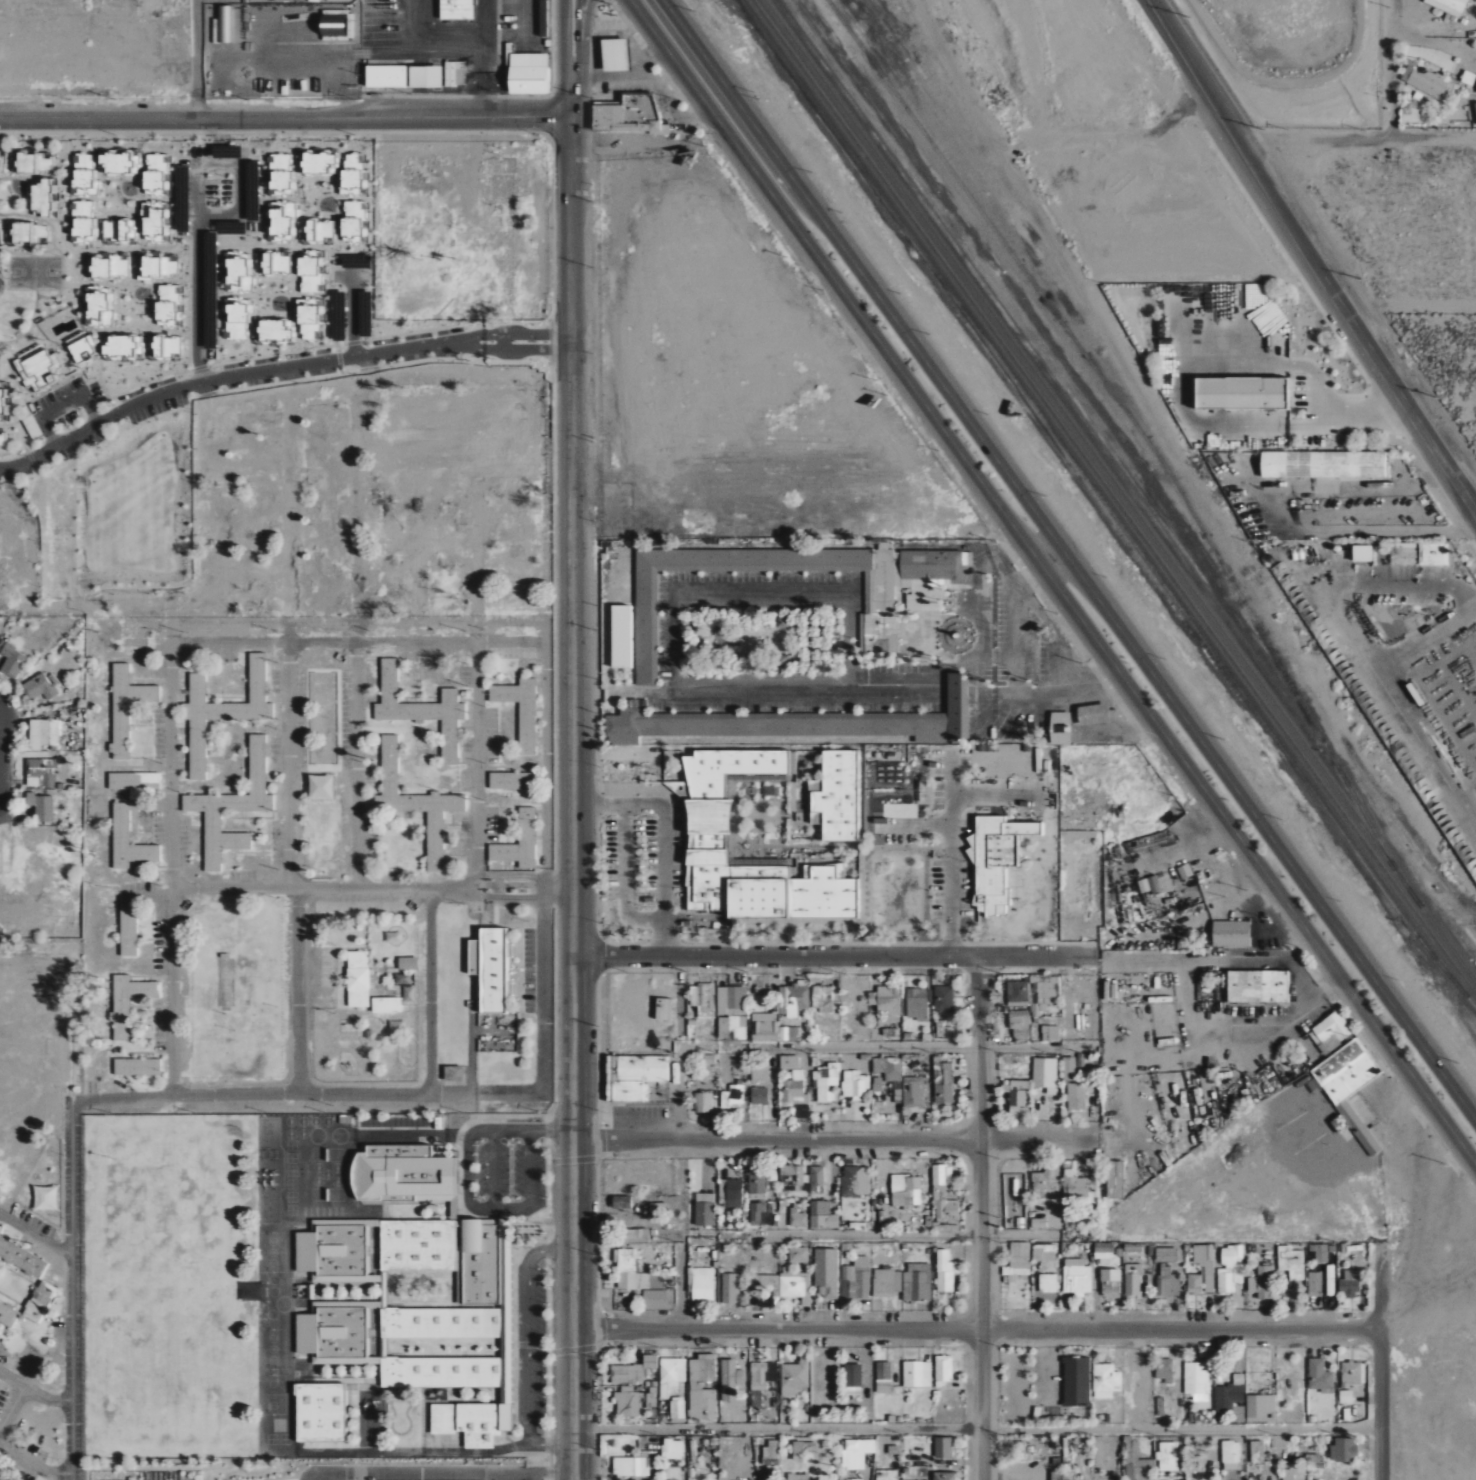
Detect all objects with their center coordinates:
building: (1448, 6)
building: (455, 10)
road: (1396, 17)
building: (333, 25)
road: (576, 27)
road: (585, 27)
road: (564, 36)
road: (1446, 47)
building: (613, 56)
road: (197, 60)
road: (576, 62)
building: (527, 74)
building: (453, 75)
building: (403, 78)
building: (1429, 83)
road: (573, 94)
building: (625, 116)
road: (286, 119)
road: (1378, 137)
road: (1432, 137)
building: (24, 162)
building: (44, 163)
building: (0, 167)
road: (573, 168)
road: (197, 176)
building: (42, 196)
building: (28, 232)
road: (1309, 257)
road: (449, 301)
road: (120, 327)
road: (352, 343)
building: (1240, 392)
road: (1179, 393)
road: (83, 394)
road: (1385, 401)
road: (1367, 407)
building: (31, 427)
railway: (1137, 430)
building: (1, 440)
road: (28, 459)
building: (1323, 464)
railway: (1119, 491)
railway: (1113, 499)
railway: (1106, 505)
road: (1034, 535)
road: (1015, 549)
building: (1362, 553)
building: (1403, 553)
building: (1433, 554)
road: (1068, 561)
road: (1054, 562)
building: (930, 576)
road: (1034, 576)
road: (1053, 582)
building: (878, 593)
road: (364, 612)
road: (296, 634)
road: (1431, 635)
building: (621, 636)
road: (1375, 648)
building: (12, 660)
building: (38, 687)
building: (957, 707)
building: (126, 708)
building: (421, 710)
building: (520, 710)
building: (222, 711)
building: (1092, 714)
road: (159, 724)
road: (289, 724)
road: (481, 724)
road: (545, 724)
building: (1060, 728)
building: (43, 733)
building: (804, 761)
building: (731, 769)
building: (39, 772)
building: (133, 781)
building: (510, 781)
building: (320, 787)
building: (683, 789)
building: (837, 797)
building: (415, 803)
building: (41, 807)
building: (232, 808)
building: (707, 826)
road: (664, 840)
building: (128, 841)
road: (951, 841)
road: (572, 848)
building: (995, 861)
building: (1185, 871)
building: (828, 872)
building: (759, 873)
road: (625, 880)
road: (365, 881)
building: (706, 881)
building: (1156, 884)
building: (792, 897)
building: (128, 930)
building: (1230, 934)
road: (833, 961)
building: (489, 969)
building: (359, 980)
building: (1258, 987)
building: (1018, 992)
road: (427, 993)
building: (822, 998)
building: (885, 999)
building: (943, 999)
building: (703, 1000)
building: (793, 1000)
building: (731, 1001)
building: (128, 1003)
building: (917, 1004)
building: (386, 1005)
building: (665, 1010)
building: (1020, 1026)
building: (723, 1027)
building: (1332, 1027)
building: (771, 1029)
building: (1050, 1033)
road: (830, 1048)
building: (1081, 1061)
building: (789, 1062)
building: (136, 1067)
building: (642, 1069)
building: (1069, 1069)
building: (759, 1073)
building: (453, 1074)
building: (891, 1074)
building: (1045, 1074)
building: (611, 1079)
parking lot: (600, 1081)
building: (827, 1082)
building: (943, 1083)
building: (877, 1084)
building: (855, 1085)
building: (1349, 1086)
building: (632, 1092)
building: (913, 1093)
building: (796, 1095)
building: (759, 1096)
building: (733, 1097)
building: (1076, 1097)
road: (596, 1099)
building: (703, 1103)
building: (1018, 1103)
road: (309, 1105)
road: (626, 1119)
road: (833, 1141)
road: (467, 1150)
road: (530, 1166)
building: (405, 1174)
building: (791, 1179)
building: (817, 1179)
building: (1115, 1180)
building: (1043, 1181)
building: (771, 1182)
building: (851, 1182)
building: (757, 1184)
building: (1075, 1185)
building: (722, 1187)
road: (681, 1188)
building: (906, 1191)
building: (734, 1193)
building: (44, 1198)
building: (944, 1201)
building: (621, 1203)
building: (658, 1208)
building: (704, 1209)
building: (756, 1213)
building: (821, 1216)
building: (797, 1217)
road: (981, 1220)
building: (1039, 1223)
road: (606, 1224)
road: (35, 1235)
building: (634, 1236)
road: (594, 1237)
road: (870, 1238)
building: (663, 1249)
building: (337, 1251)
building: (1104, 1251)
building: (1044, 1253)
building: (1319, 1253)
building: (799, 1255)
building: (1166, 1255)
building: (1018, 1260)
building: (630, 1261)
building: (1291, 1263)
building: (1209, 1269)
building: (1230, 1269)
building: (945, 1272)
building: (827, 1273)
building: (1077, 1277)
building: (858, 1278)
building: (1133, 1280)
building: (657, 1281)
building: (1330, 1281)
building: (636, 1282)
building: (917, 1282)
building: (1168, 1282)
building: (887, 1283)
building: (1048, 1283)
building: (1111, 1283)
building: (1265, 1283)
building: (701, 1284)
building: (1315, 1284)
building: (1349, 1284)
building: (794, 1285)
building: (729, 1289)
road: (71, 1290)
road: (604, 1296)
building: (656, 1300)
building: (39, 1302)
building: (8, 1315)
building: (430, 1322)
road: (975, 1330)
road: (1017, 1348)
road: (1049, 1348)
road: (528, 1349)
road: (1379, 1362)
road: (999, 1366)
building: (944, 1369)
building: (1163, 1369)
building: (634, 1371)
building: (736, 1374)
building: (917, 1374)
building: (672, 1375)
building: (1320, 1377)
building: (795, 1378)
building: (884, 1378)
building: (762, 1379)
building: (853, 1381)
building: (1106, 1381)
building: (1197, 1381)
building: (1077, 1383)
parking lot: (1031, 1386)
building: (703, 1387)
road: (1017, 1390)
road: (1049, 1390)
road: (34, 1394)
building: (1346, 1397)
building: (652, 1398)
building: (1231, 1400)
building: (628, 1403)
road: (10, 1407)
building: (1160, 1407)
building: (1256, 1407)
building: (678, 1410)
building: (319, 1413)
road: (1033, 1415)
road: (975, 1430)
building: (943, 1448)
building: (672, 1449)
building: (802, 1450)
building: (1344, 1450)
building: (770, 1452)
building: (856, 1453)
building: (1257, 1453)
building: (1168, 1456)
building: (1231, 1456)
building: (1137, 1464)
road: (31, 1466)
building: (631, 1467)
road: (448, 1475)
building: (886, 1475)
building: (1288, 1475)
building: (944, 1476)
road: (504, 1477)
road: (533, 1477)
building: (797, 1477)
building: (843, 1479)

